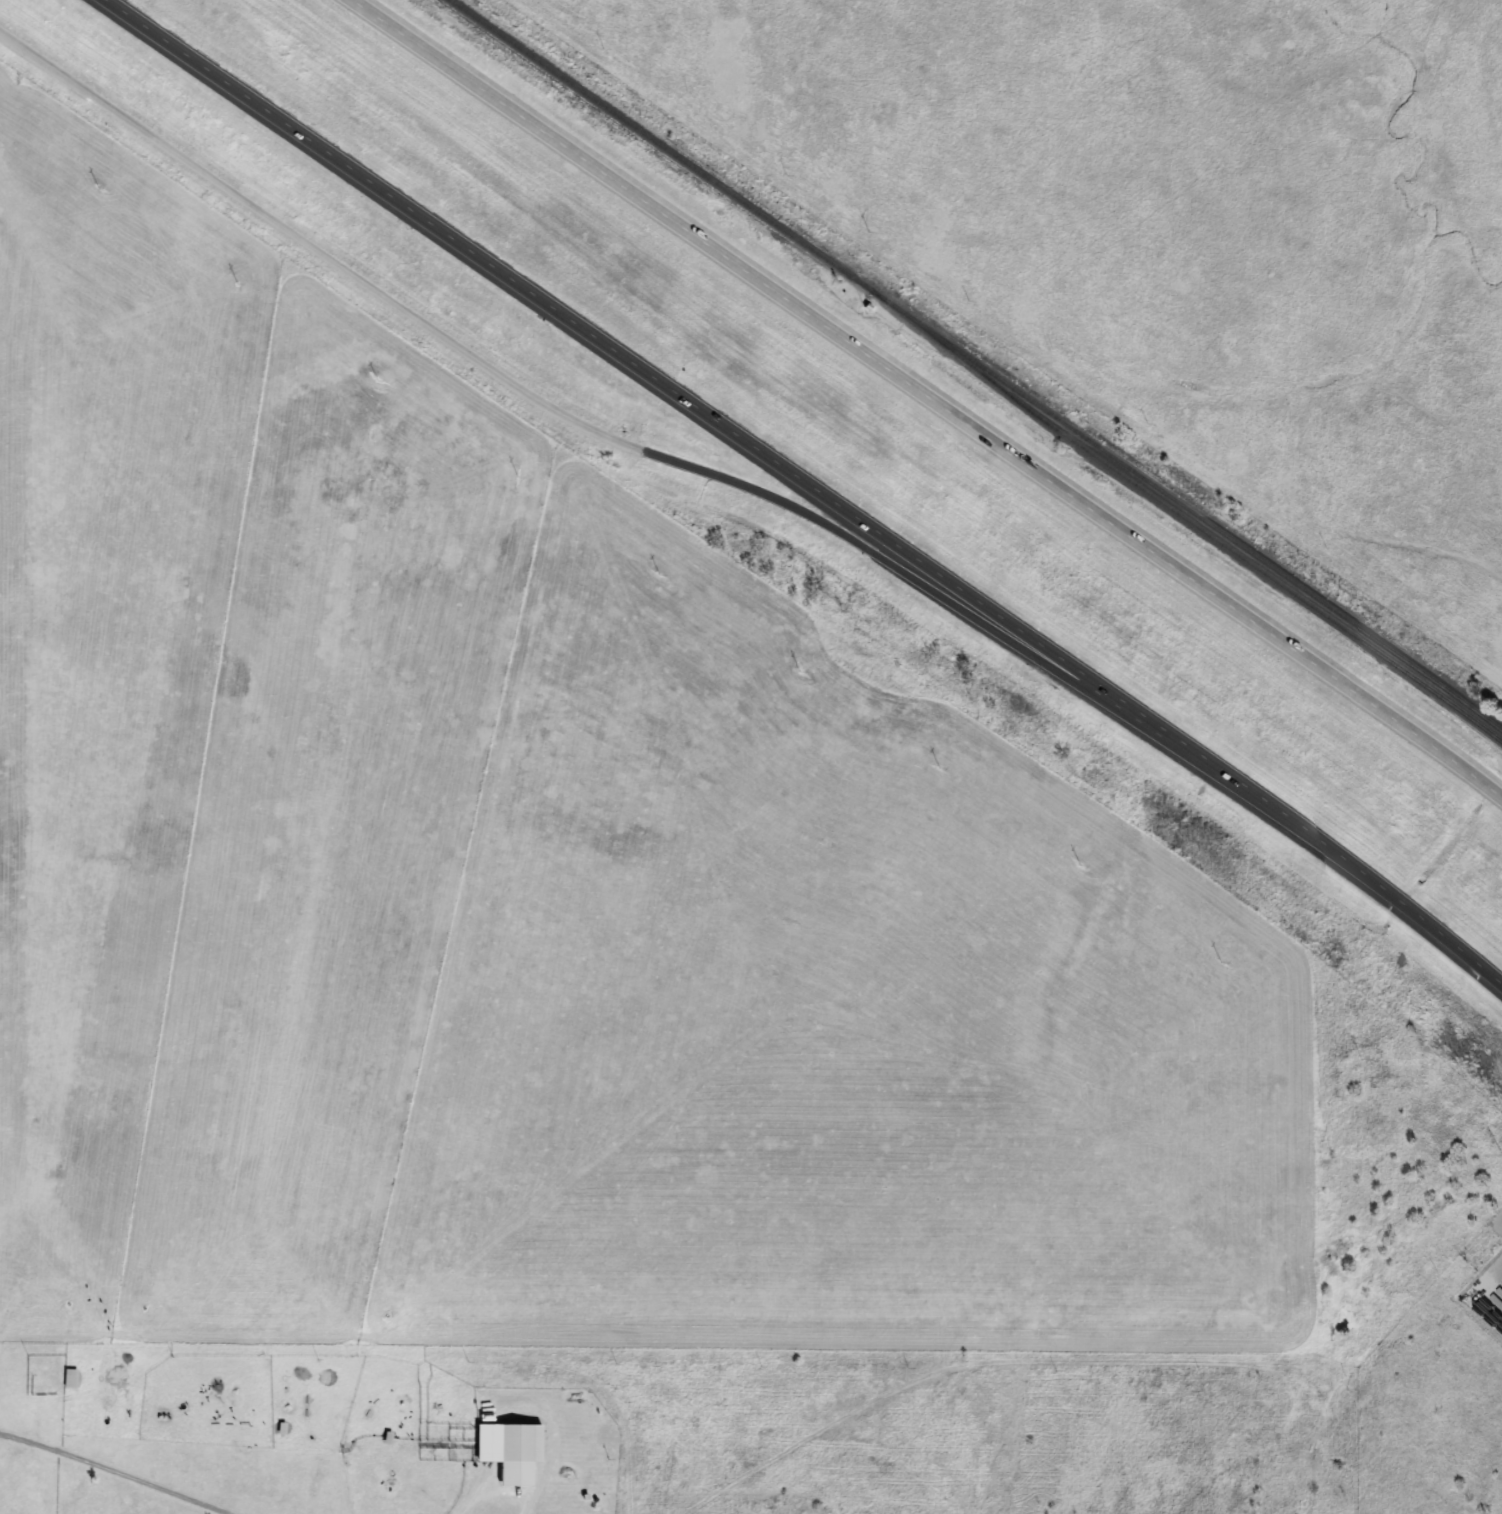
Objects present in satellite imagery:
railway: (976, 364)
road: (929, 397)
road: (548, 401)
road: (804, 484)
railway: (1204, 534)
building: (68, 1379)
building: (519, 1444)

